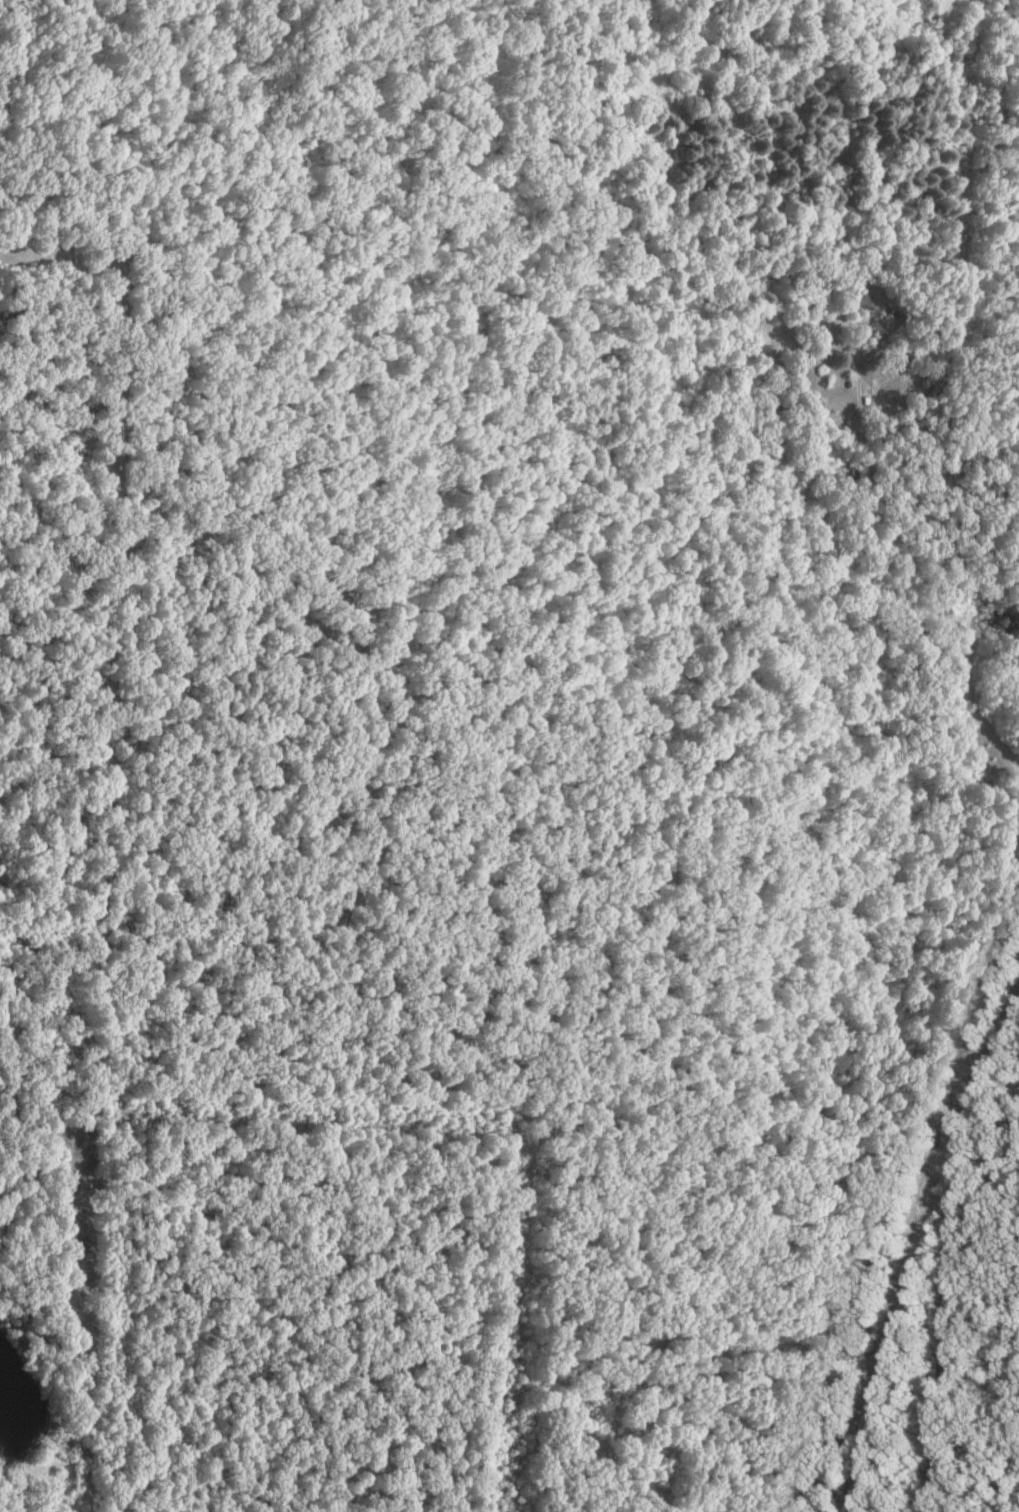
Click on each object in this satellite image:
building: (847, 475)
road: (951, 1245)

